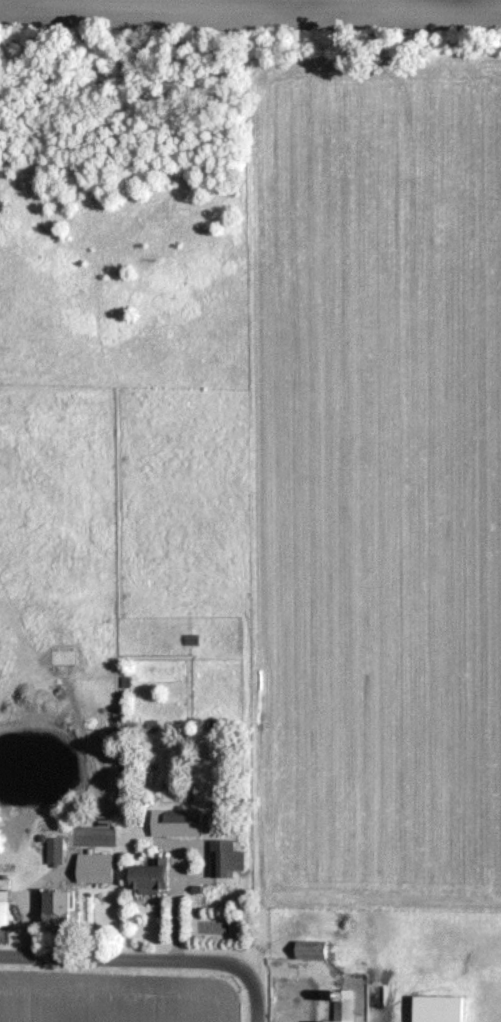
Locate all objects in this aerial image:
crop: (264, 7)
building: (177, 822)
building: (55, 850)
building: (227, 858)
building: (96, 866)
building: (151, 874)
building: (4, 902)
building: (58, 907)
building: (312, 948)
road: (142, 960)
building: (441, 1002)
building: (343, 1005)

